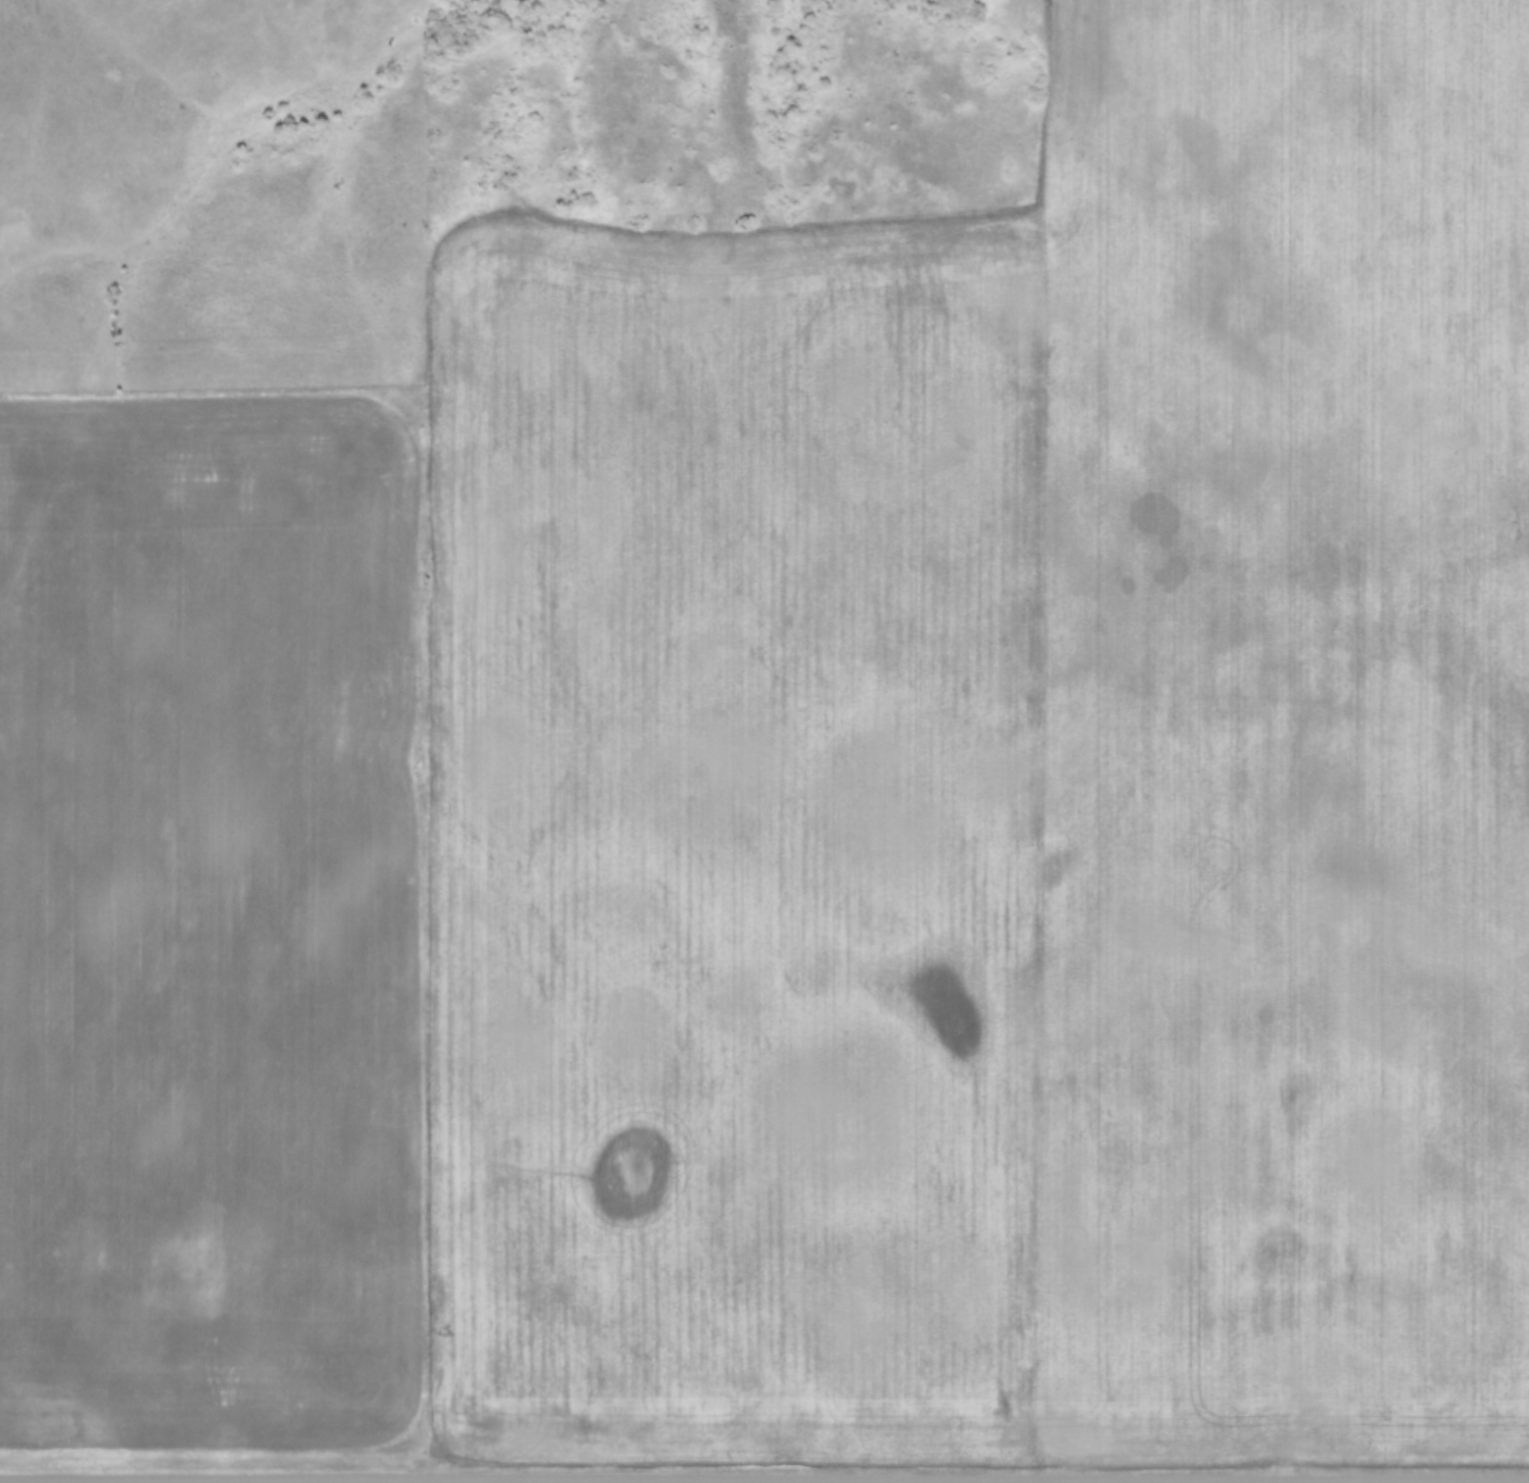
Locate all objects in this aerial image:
road: (764, 1480)
road: (426, 1481)

